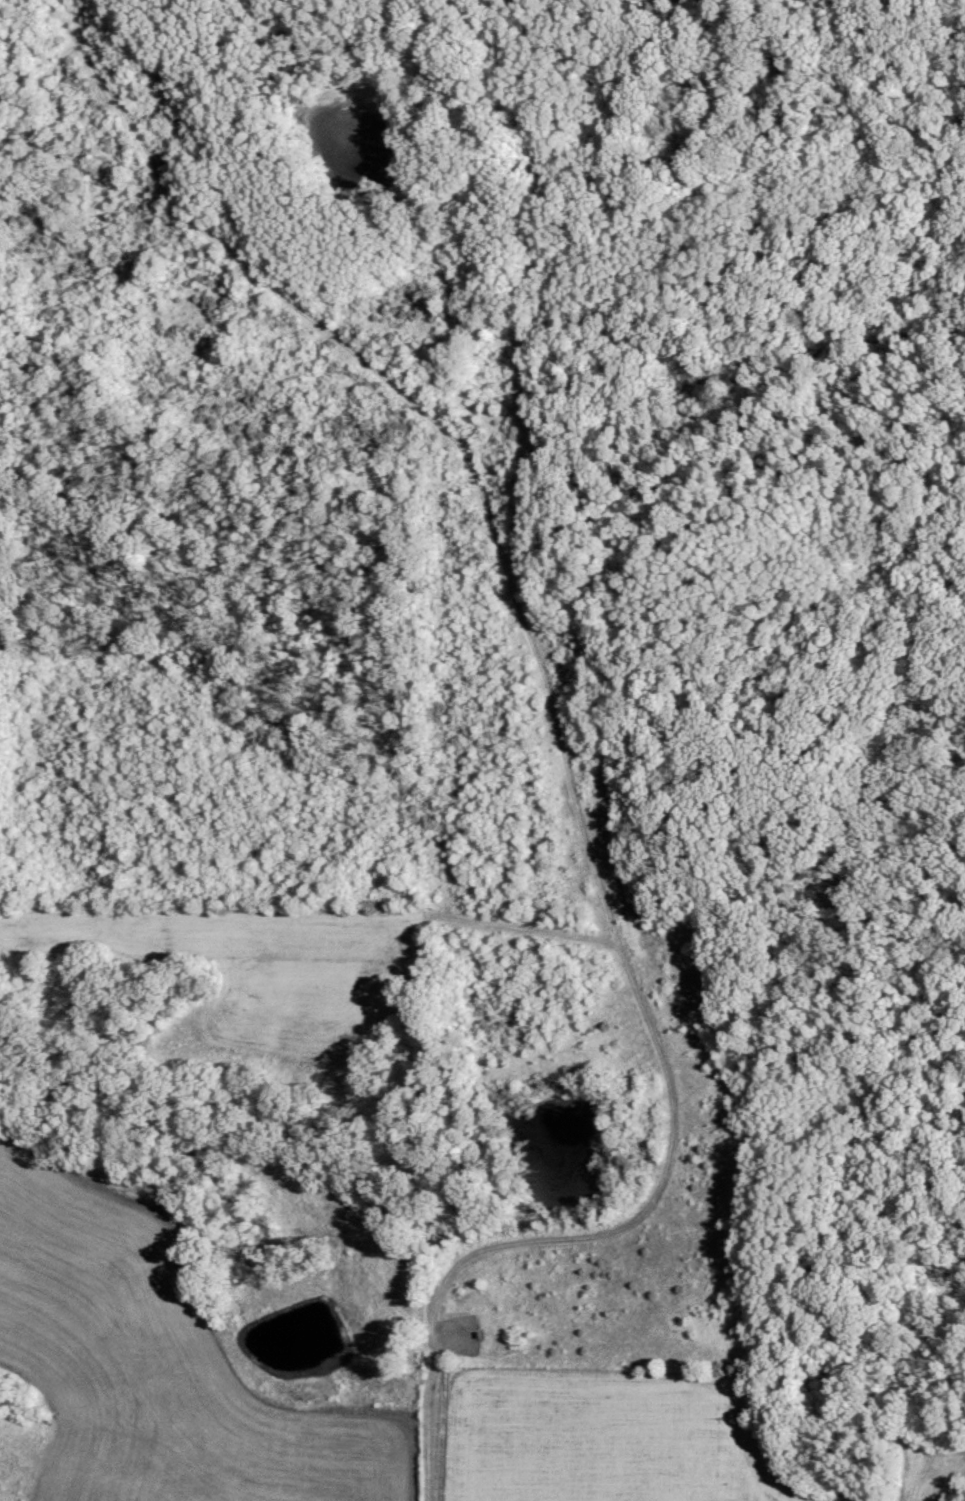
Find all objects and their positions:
road: (417, 752)
road: (608, 1261)

